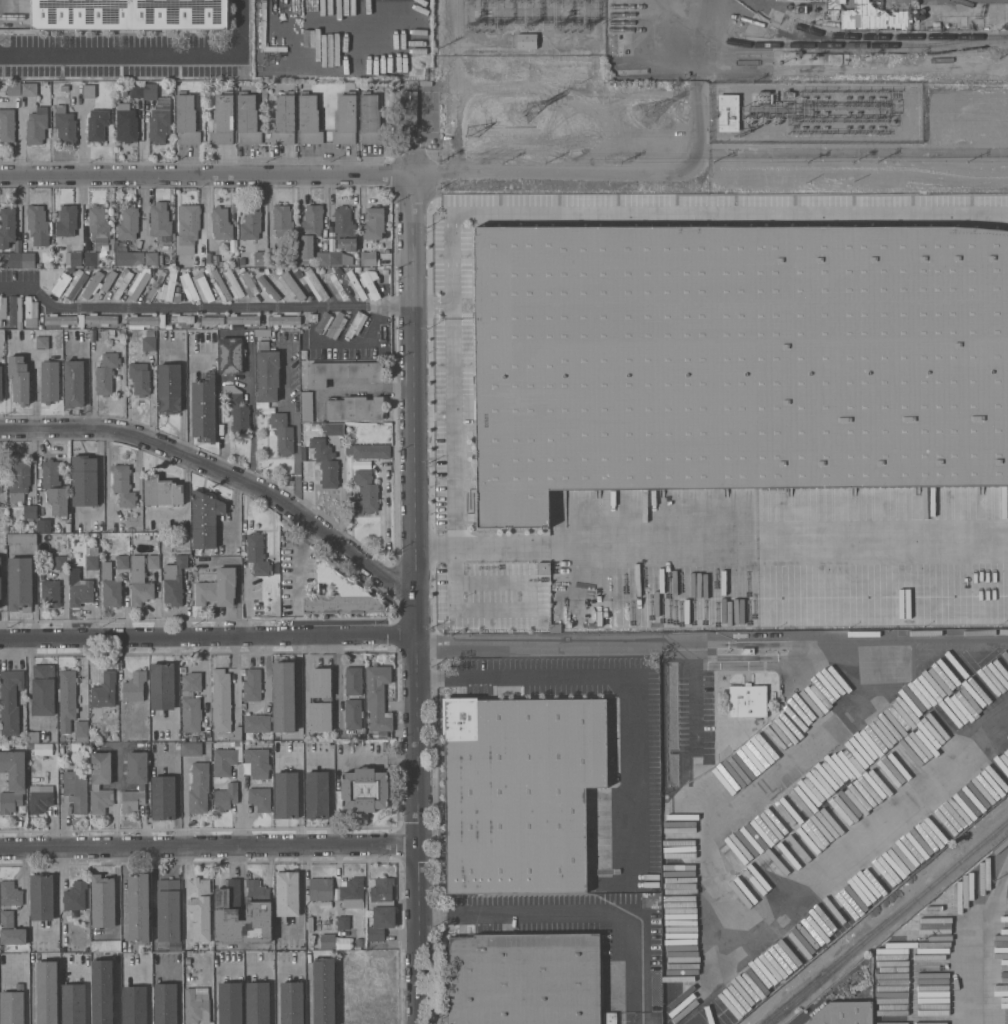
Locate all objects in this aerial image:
building: (915, 2)
building: (800, 9)
building: (815, 9)
building: (134, 12)
building: (867, 16)
building: (936, 25)
power substation: (521, 27)
railway: (897, 36)
road: (700, 39)
building: (526, 40)
railway: (825, 45)
road: (148, 56)
building: (64, 87)
building: (13, 89)
building: (29, 89)
building: (136, 90)
building: (89, 91)
building: (270, 91)
power tower: (645, 110)
power tower: (526, 112)
building: (728, 112)
power substation: (815, 112)
building: (157, 114)
building: (222, 118)
building: (186, 119)
building: (284, 119)
building: (309, 119)
building: (345, 119)
building: (370, 119)
building: (247, 120)
building: (126, 123)
building: (97, 124)
building: (7, 125)
building: (65, 125)
building: (37, 126)
road: (697, 127)
power tower: (469, 129)
road: (708, 172)
road: (205, 175)
road: (559, 209)
building: (67, 220)
building: (283, 221)
building: (160, 222)
building: (128, 223)
building: (221, 223)
building: (251, 223)
building: (374, 223)
building: (39, 225)
building: (99, 225)
building: (7, 227)
building: (187, 228)
building: (345, 228)
building: (310, 230)
building: (17, 257)
building: (76, 258)
building: (91, 258)
building: (137, 258)
building: (152, 258)
building: (261, 258)
building: (322, 258)
building: (340, 258)
building: (369, 258)
building: (242, 261)
building: (358, 268)
building: (259, 270)
building: (279, 270)
building: (295, 270)
building: (329, 270)
building: (374, 270)
building: (50, 277)
building: (108, 280)
building: (122, 282)
building: (139, 283)
building: (61, 284)
building: (75, 284)
building: (91, 284)
building: (248, 284)
building: (156, 285)
building: (234, 285)
building: (291, 285)
building: (317, 285)
building: (356, 285)
building: (188, 286)
building: (221, 286)
building: (369, 286)
building: (203, 287)
building: (269, 287)
building: (335, 287)
building: (169, 289)
road: (393, 305)
road: (183, 306)
building: (2, 308)
building: (15, 310)
building: (30, 313)
building: (313, 317)
building: (60, 319)
building: (101, 319)
building: (243, 319)
building: (142, 320)
building: (183, 320)
building: (213, 320)
building: (283, 320)
building: (323, 322)
building: (356, 324)
building: (336, 325)
building: (111, 333)
building: (2, 335)
building: (43, 342)
building: (148, 343)
road: (357, 343)
building: (304, 353)
building: (231, 355)
road: (412, 360)
building: (737, 363)
building: (267, 372)
building: (342, 372)
building: (106, 373)
building: (19, 378)
building: (139, 378)
building: (49, 381)
building: (1, 383)
building: (74, 383)
building: (169, 388)
road: (371, 389)
road: (183, 392)
building: (307, 406)
building: (204, 408)
building: (237, 408)
road: (251, 408)
building: (355, 408)
road: (295, 426)
building: (332, 428)
building: (282, 433)
building: (304, 448)
building: (371, 451)
building: (304, 455)
building: (326, 462)
road: (223, 471)
building: (19, 480)
building: (84, 481)
building: (1, 485)
building: (123, 485)
building: (54, 487)
building: (161, 491)
building: (365, 494)
building: (357, 496)
building: (30, 511)
building: (205, 519)
building: (44, 525)
building: (144, 537)
building: (21, 539)
road: (482, 545)
road: (779, 545)
building: (94, 551)
building: (257, 554)
building: (0, 560)
building: (122, 561)
building: (153, 561)
building: (61, 562)
building: (92, 562)
road: (297, 562)
building: (41, 565)
road: (454, 579)
building: (174, 580)
building: (139, 582)
building: (20, 584)
building: (110, 586)
building: (0, 588)
building: (218, 588)
building: (79, 589)
building: (50, 593)
building: (340, 594)
road: (208, 641)
road: (567, 644)
building: (748, 651)
road: (625, 678)
building: (353, 681)
building: (252, 685)
building: (134, 686)
building: (162, 686)
building: (43, 689)
building: (104, 690)
building: (284, 696)
building: (67, 698)
building: (320, 699)
building: (221, 700)
building: (377, 700)
building: (747, 700)
building: (10, 701)
building: (191, 702)
building: (244, 706)
building: (353, 714)
building: (256, 723)
building: (81, 731)
building: (104, 734)
building: (236, 734)
building: (33, 736)
building: (239, 744)
building: (30, 746)
building: (74, 748)
building: (196, 748)
building: (223, 761)
building: (257, 762)
building: (12, 780)
building: (100, 781)
building: (135, 781)
road: (417, 784)
building: (199, 787)
building: (524, 787)
building: (76, 790)
building: (365, 790)
building: (317, 794)
building: (286, 795)
building: (225, 797)
building: (40, 798)
building: (163, 798)
building: (260, 799)
road: (241, 810)
road: (209, 847)
building: (321, 888)
building: (382, 889)
building: (352, 892)
building: (10, 894)
building: (287, 894)
building: (75, 896)
building: (41, 897)
building: (103, 901)
building: (199, 907)
building: (139, 908)
building: (168, 910)
building: (243, 913)
road: (579, 915)
railway: (887, 921)
building: (343, 922)
building: (381, 922)
building: (10, 929)
road: (984, 939)
building: (328, 941)
building: (359, 943)
building: (106, 945)
building: (528, 978)
road: (271, 988)
building: (102, 991)
road: (277, 991)
building: (323, 991)
building: (47, 992)
building: (380, 993)
building: (350, 996)
building: (258, 1002)
building: (73, 1003)
building: (165, 1003)
building: (230, 1003)
building: (292, 1003)
building: (134, 1005)
building: (12, 1006)
building: (196, 1006)
building: (846, 1011)
building: (609, 1018)

